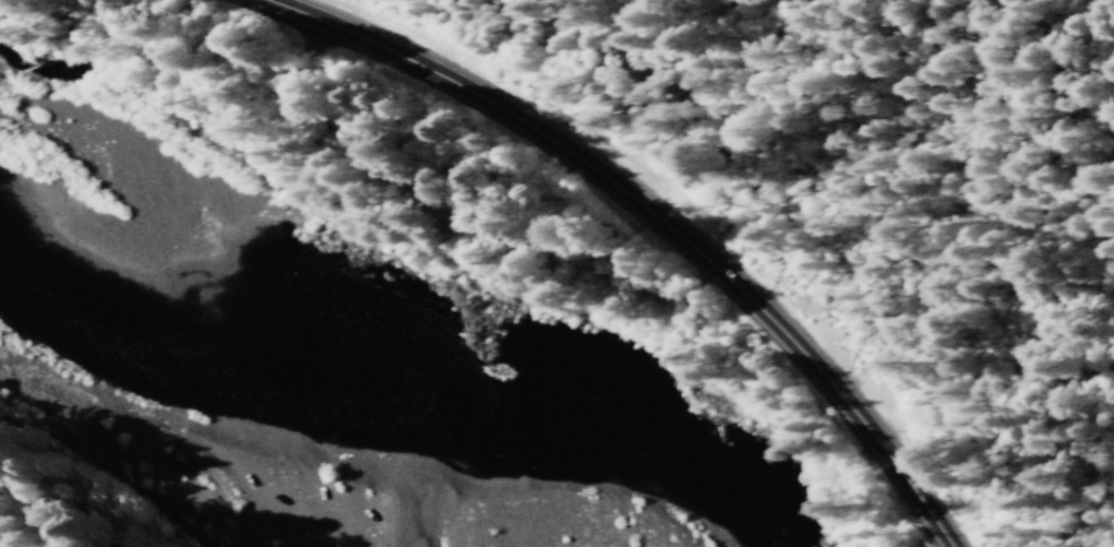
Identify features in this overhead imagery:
road: (607, 178)
river: (383, 381)
road: (912, 492)

